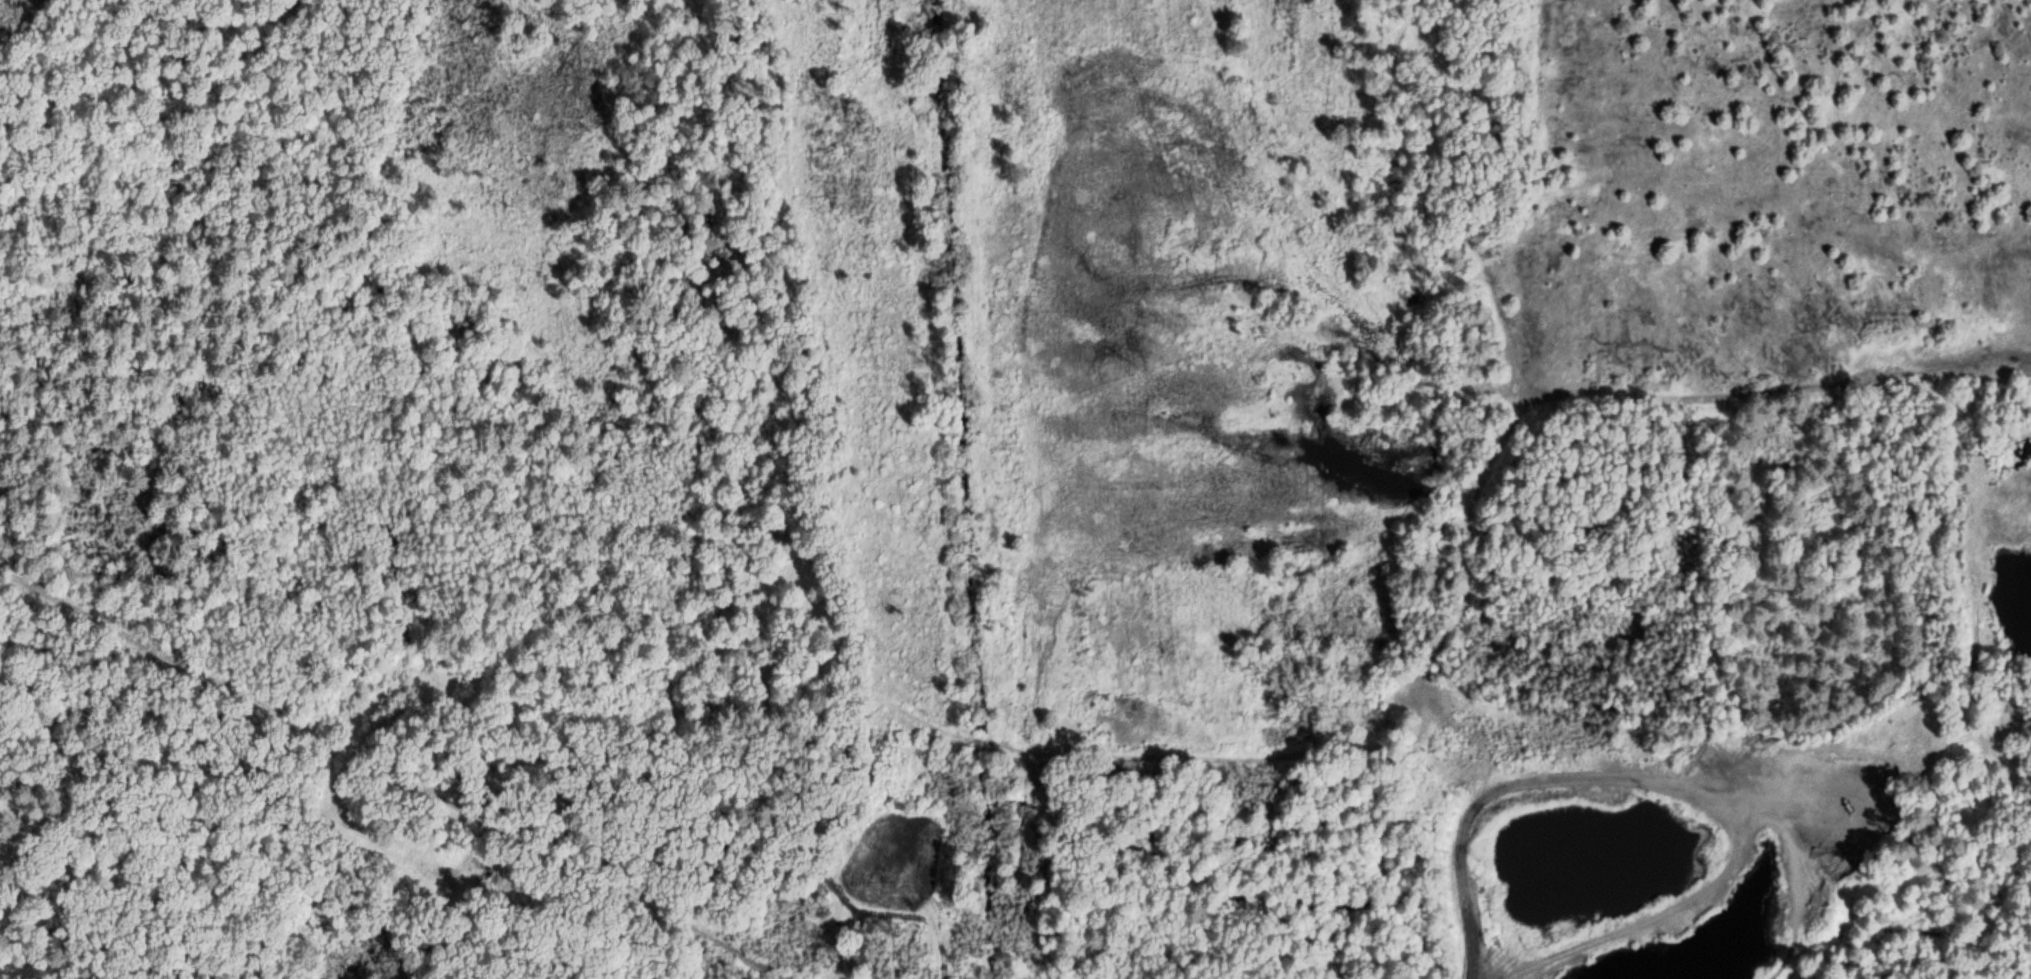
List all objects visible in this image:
railway: (395, 775)

